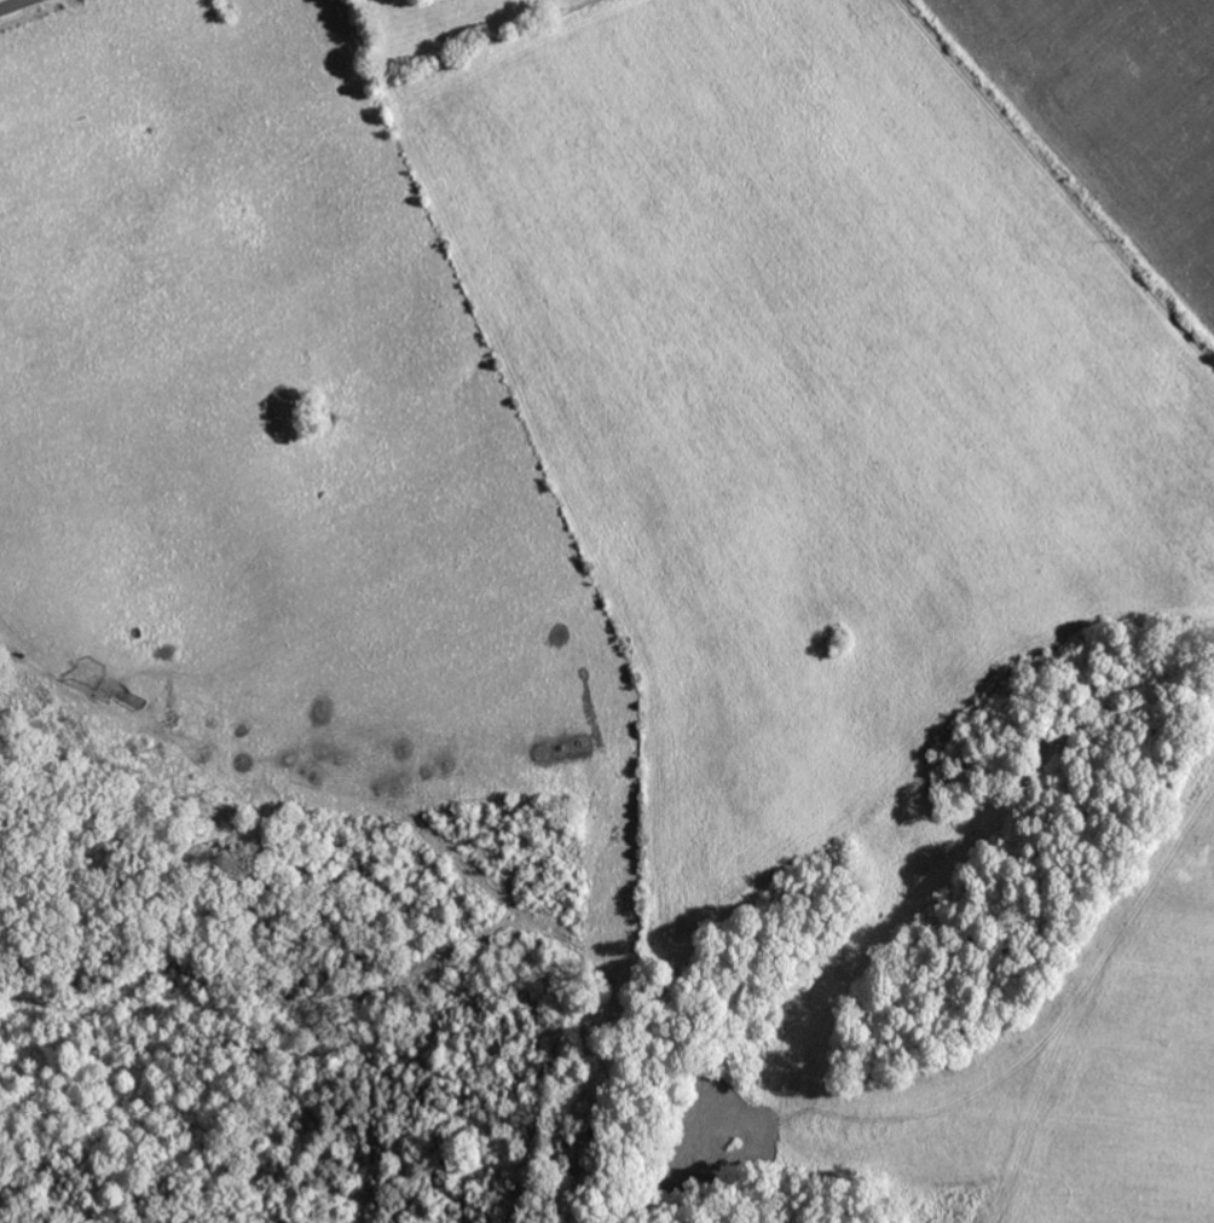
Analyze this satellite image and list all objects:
road: (15, 5)
road: (624, 1184)

